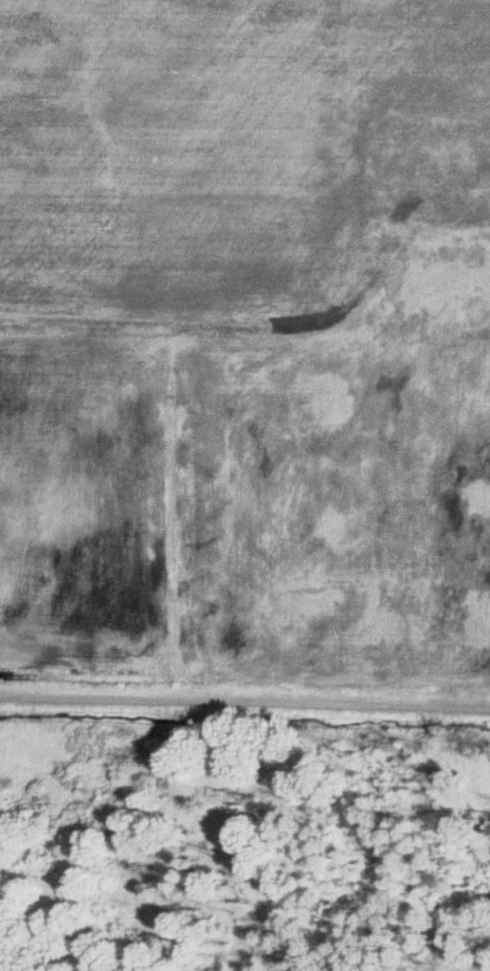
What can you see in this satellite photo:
road: (245, 700)

